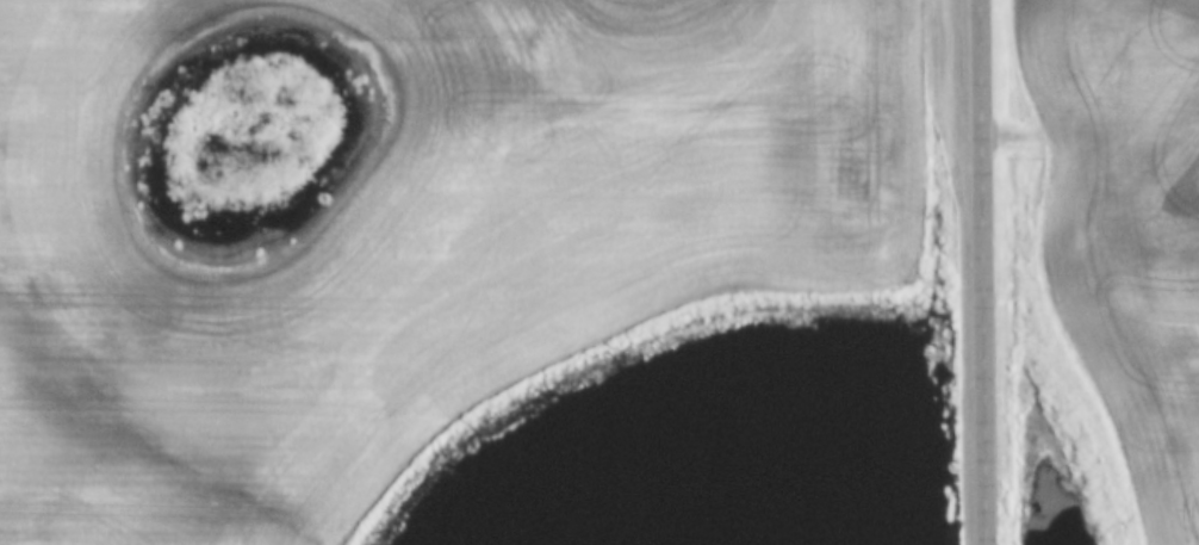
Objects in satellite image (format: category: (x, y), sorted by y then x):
road: (988, 272)

